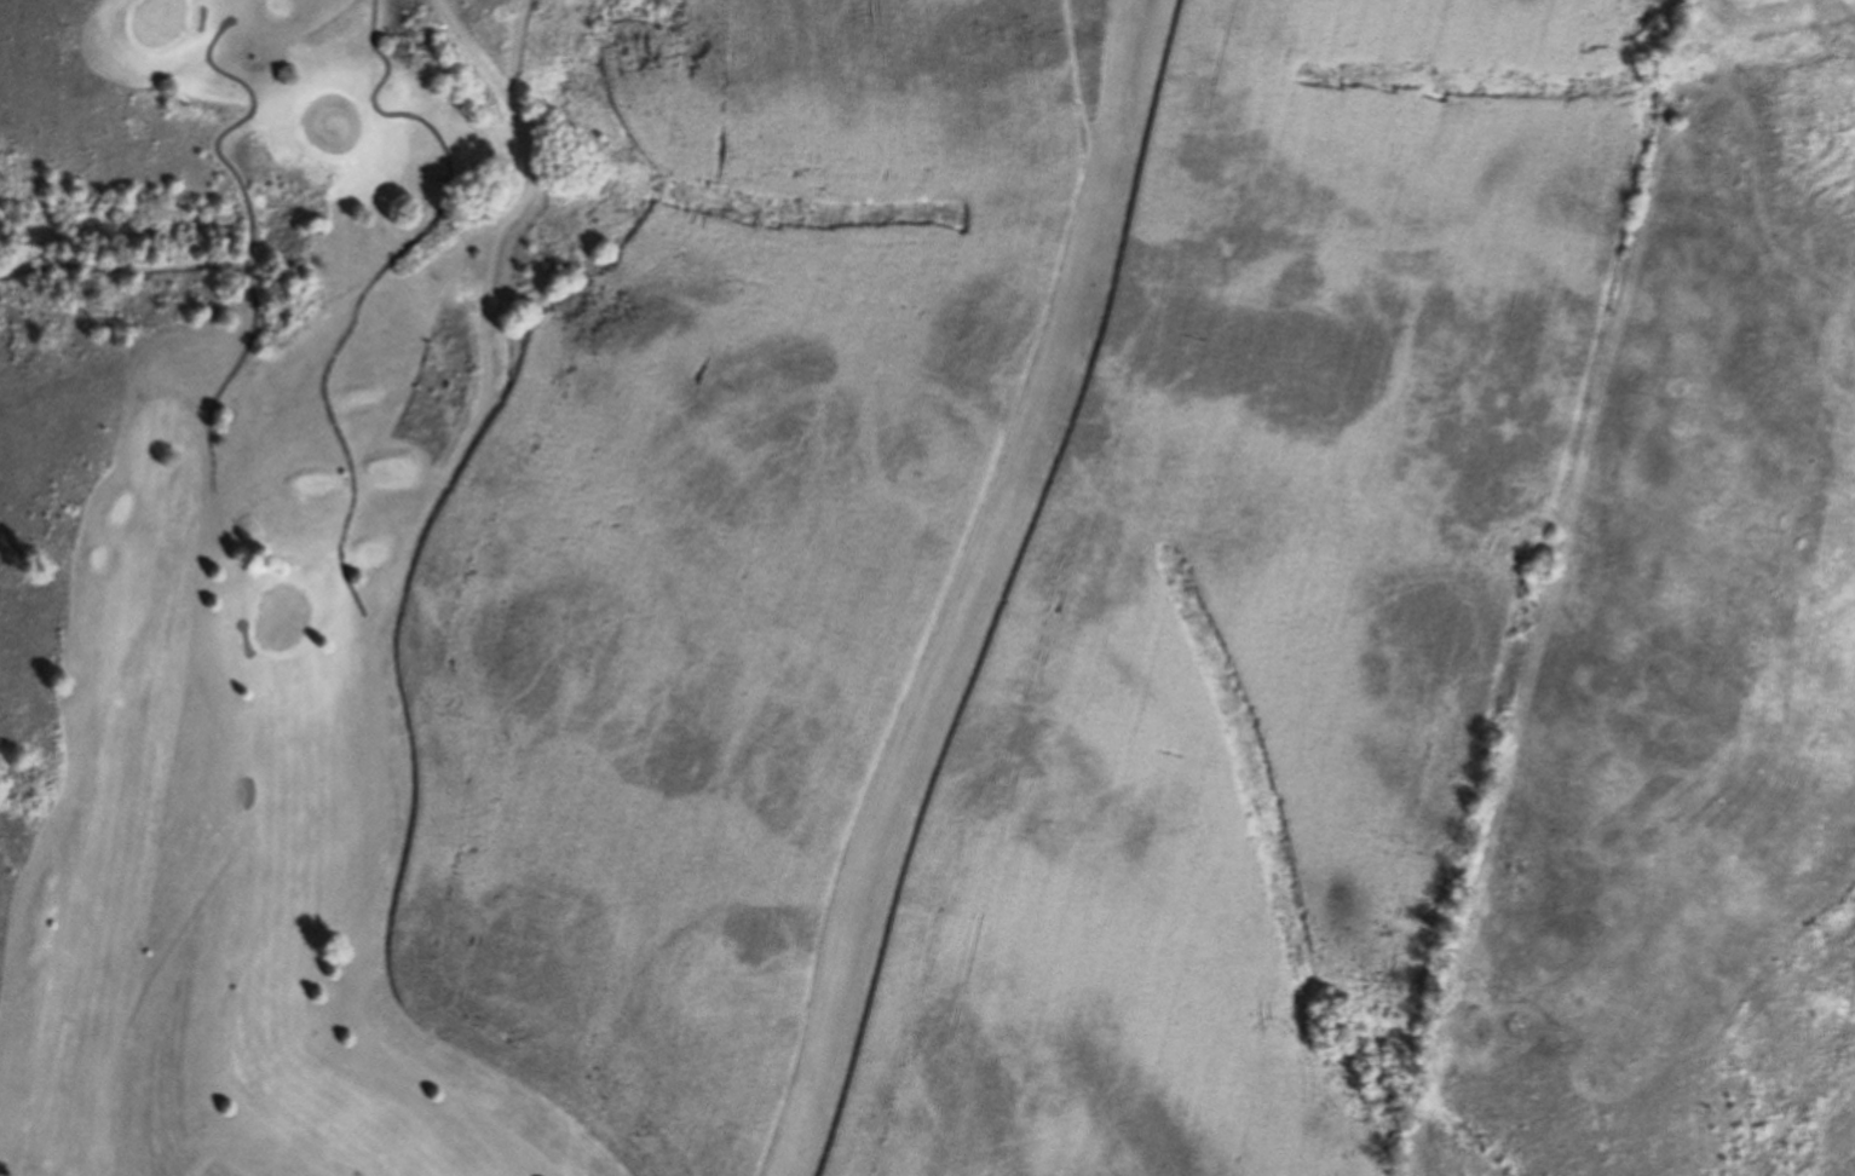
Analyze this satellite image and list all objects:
park: (163, 22)
park: (336, 121)
road: (252, 235)
road: (123, 269)
road: (375, 281)
park: (770, 569)
park: (283, 618)

